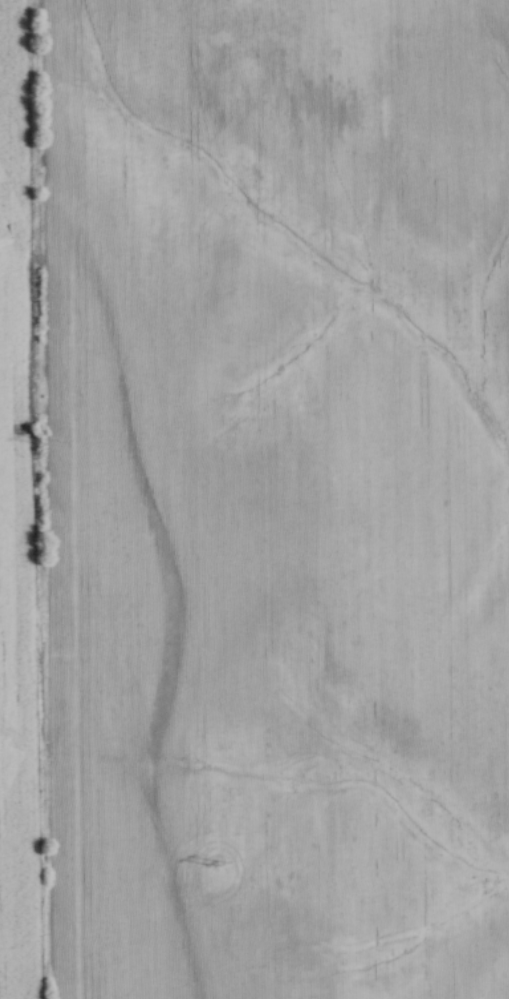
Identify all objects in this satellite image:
power tower: (40, 442)
power tower: (212, 862)

